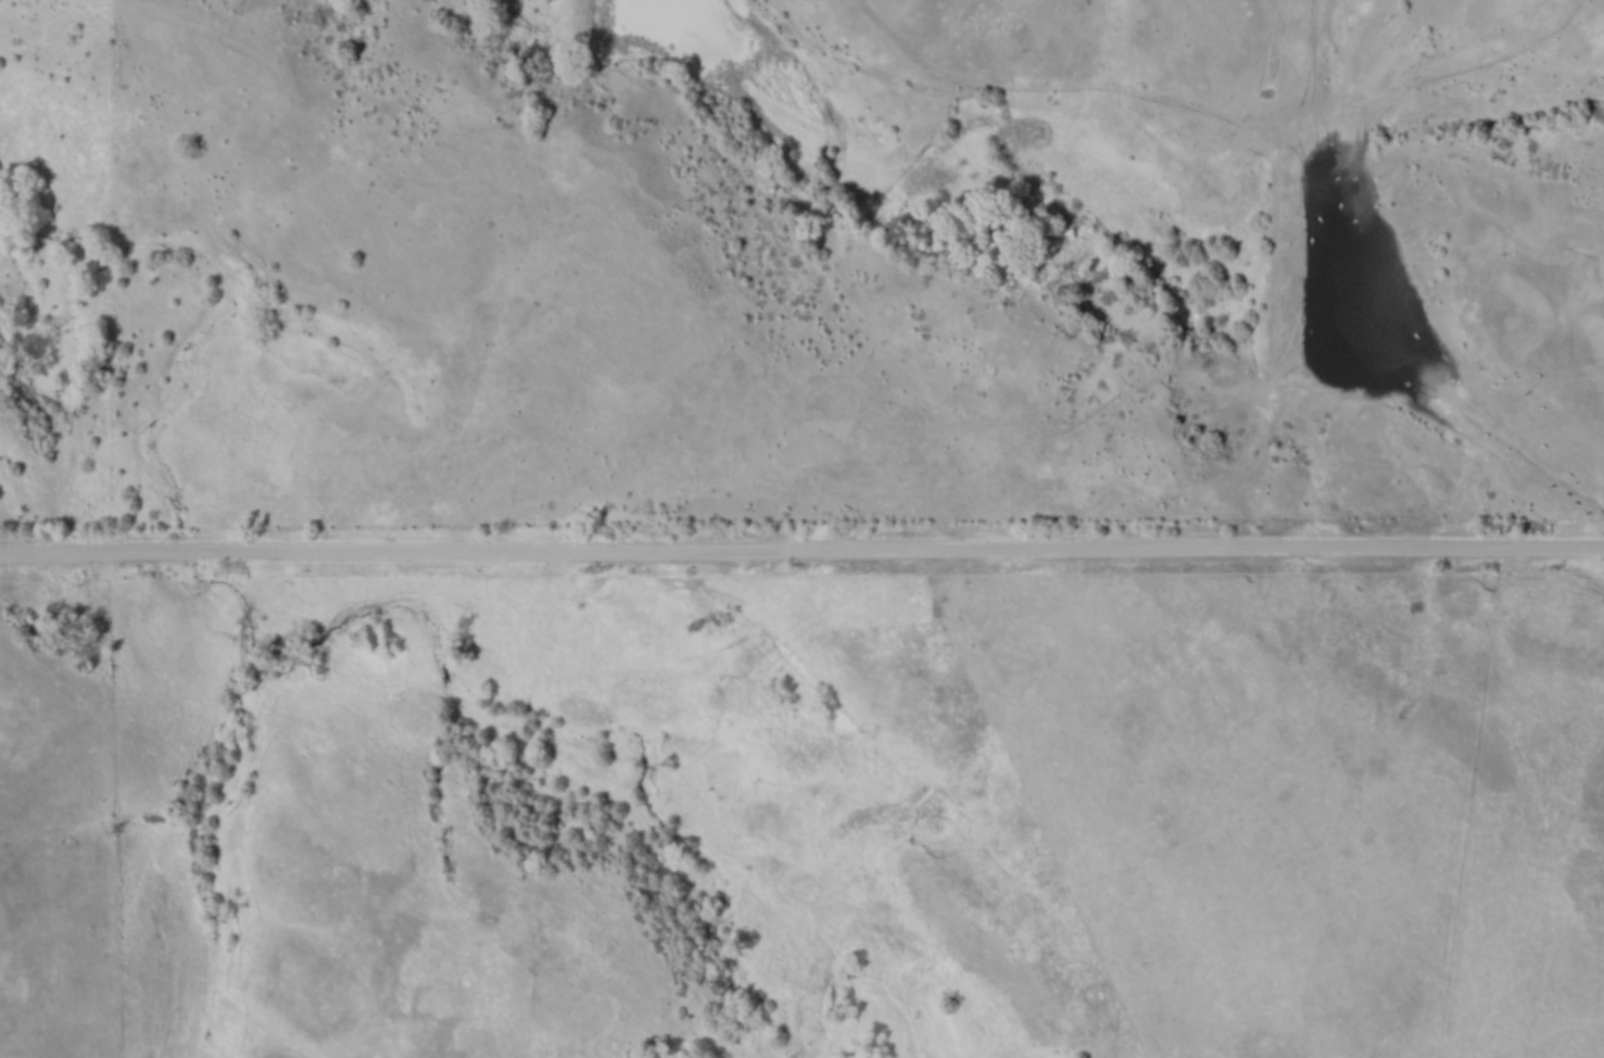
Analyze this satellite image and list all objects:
road: (801, 557)

